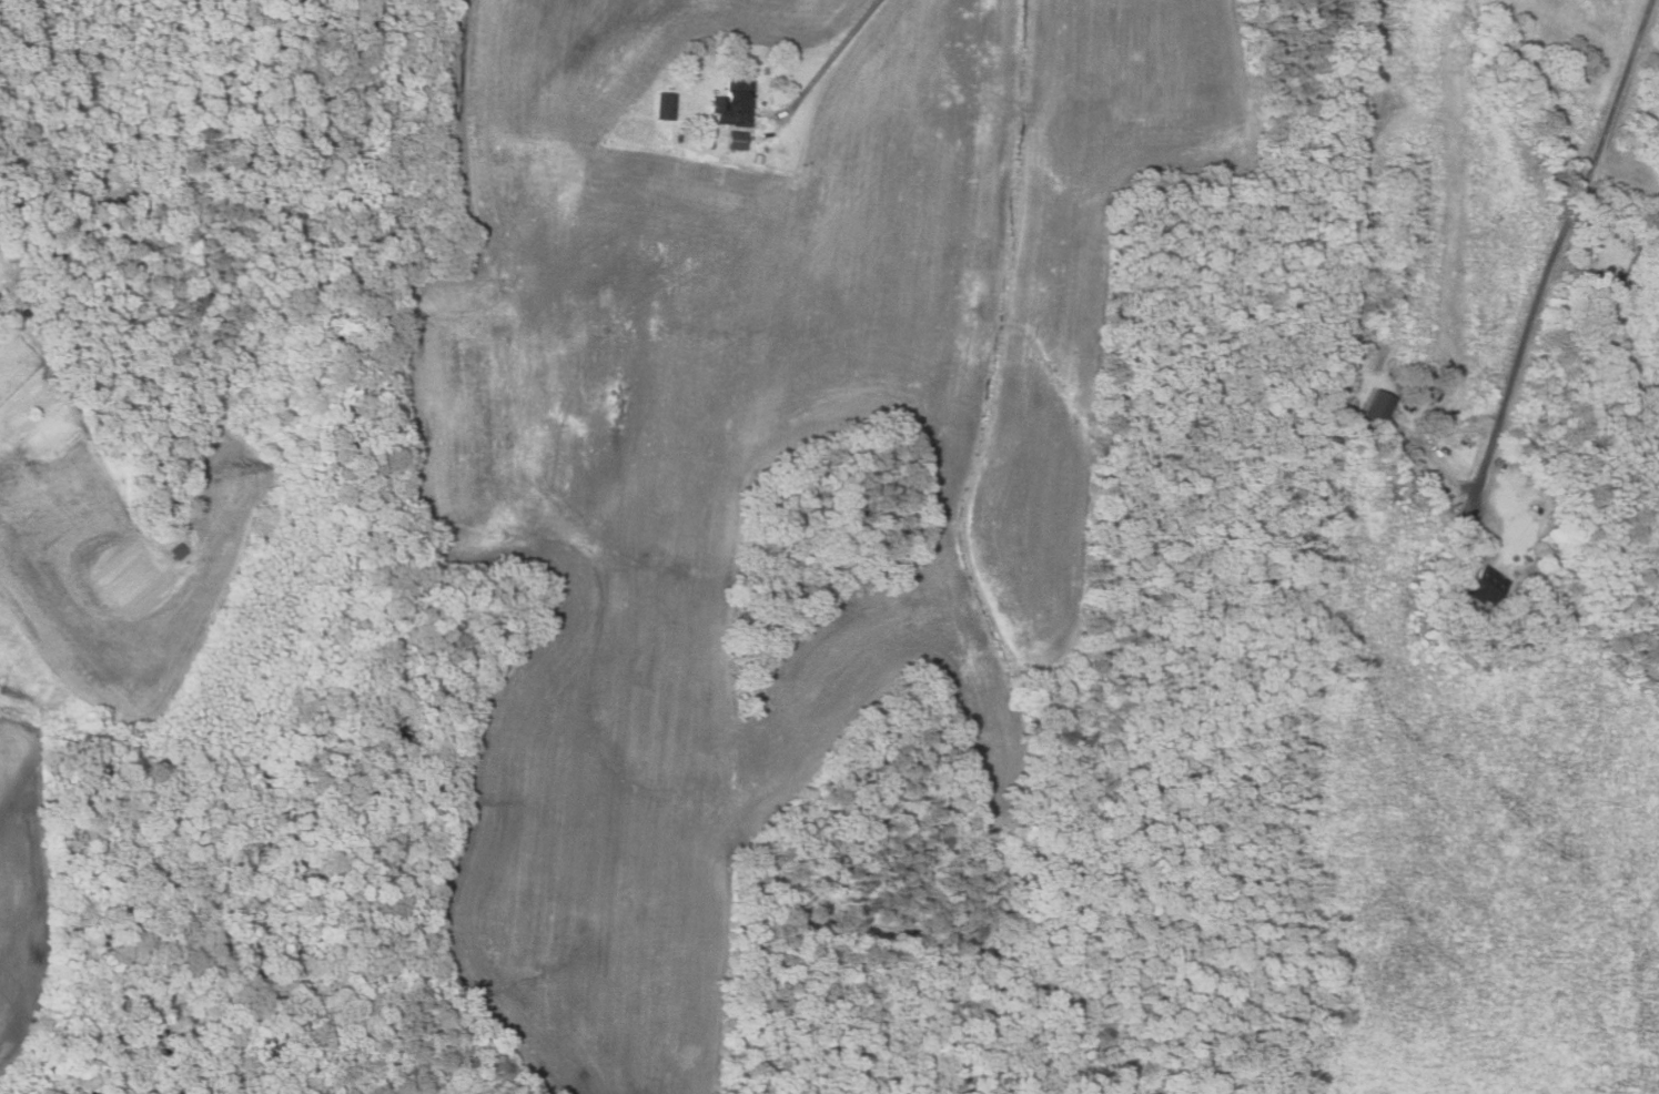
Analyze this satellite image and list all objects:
road: (820, 70)
building: (734, 104)
building: (665, 107)
building: (736, 140)
building: (710, 145)
building: (758, 159)
road: (1561, 245)
building: (28, 308)
building: (1434, 395)
building: (1378, 407)
crop: (757, 445)
building: (178, 551)
building: (1485, 587)
crop: (22, 890)

